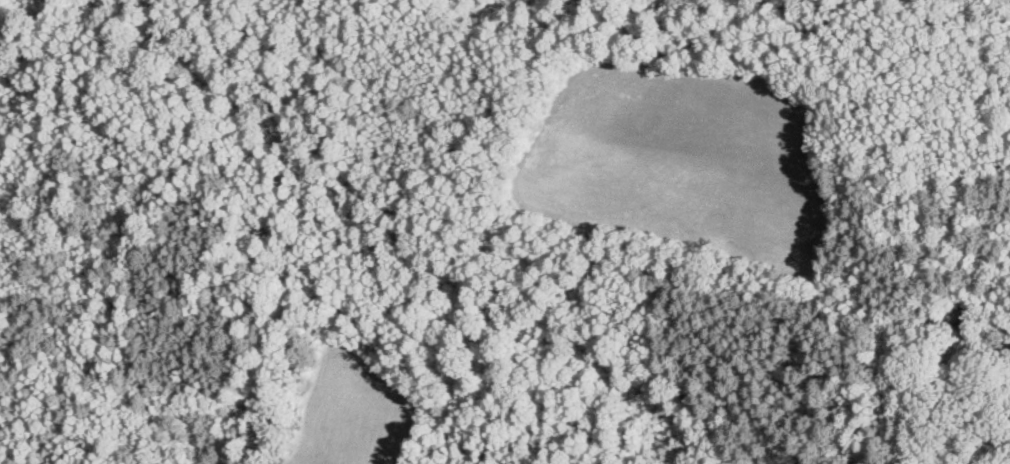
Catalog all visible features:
building: (964, 315)
building: (1003, 367)

